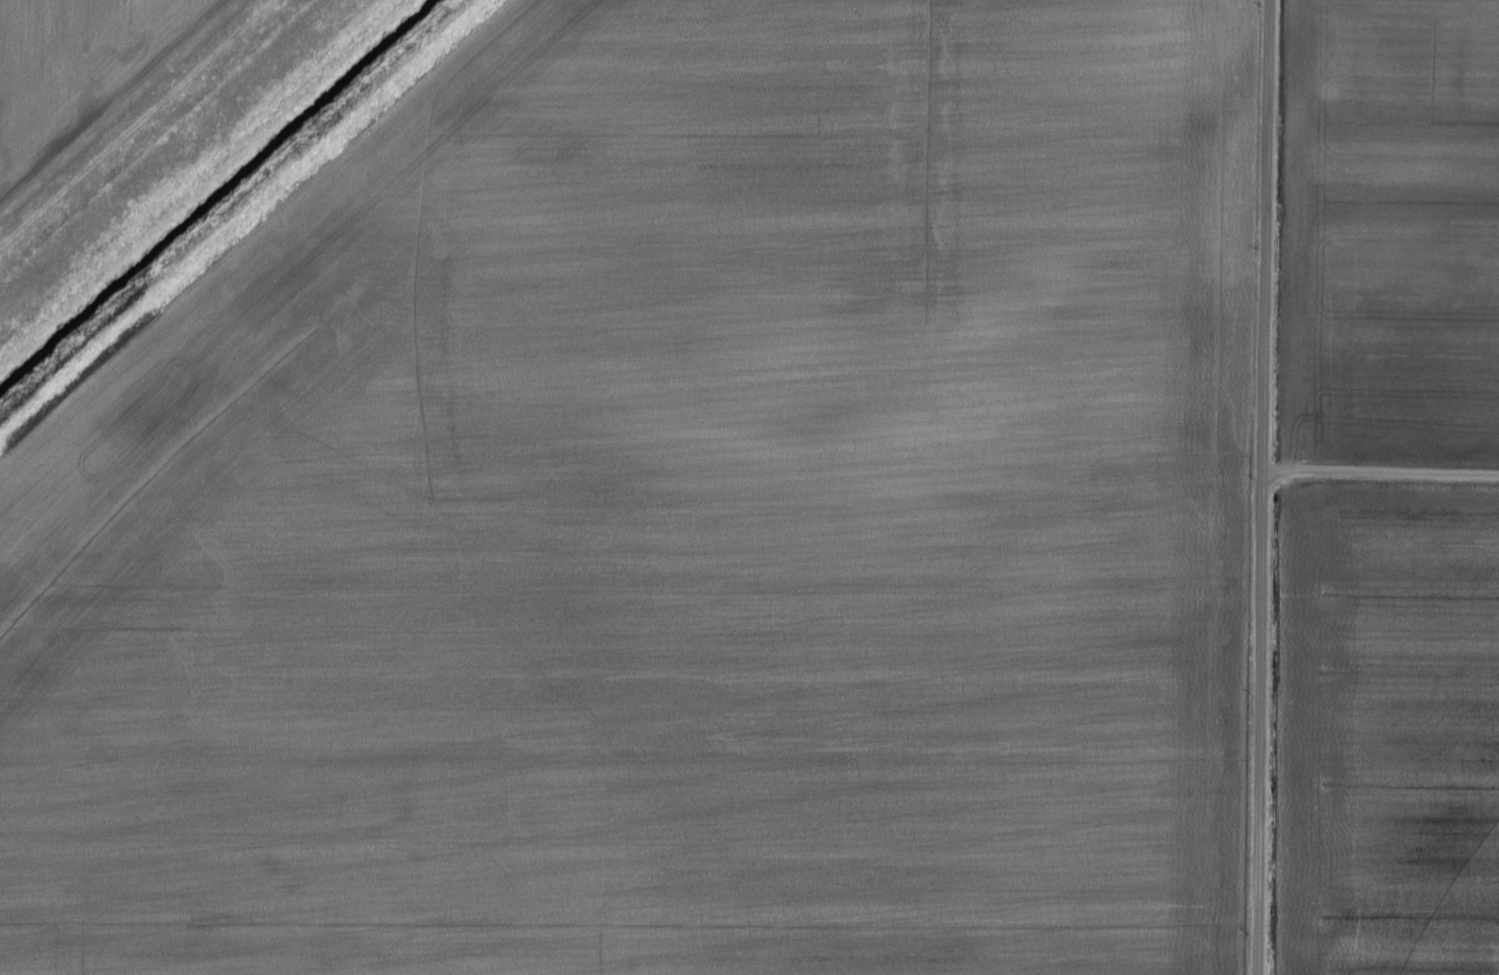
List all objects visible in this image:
road: (1376, 475)
road: (1252, 487)

